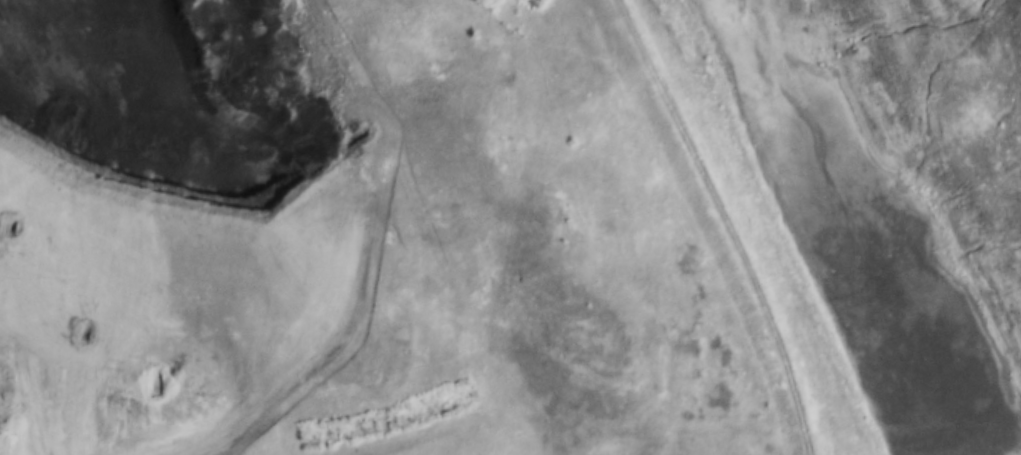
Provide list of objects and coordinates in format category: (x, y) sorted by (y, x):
road: (728, 222)

